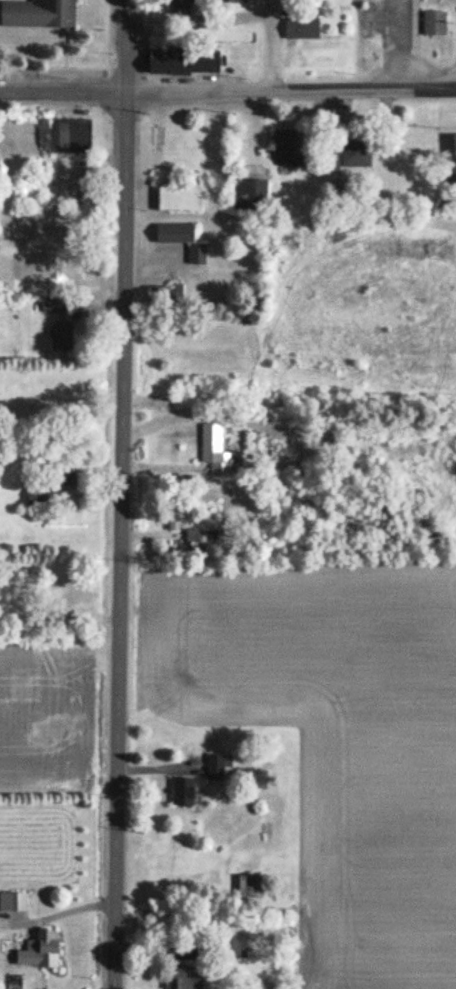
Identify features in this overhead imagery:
building: (233, 1)
building: (178, 8)
building: (37, 14)
building: (433, 24)
building: (300, 30)
road: (279, 45)
building: (180, 62)
road: (227, 91)
building: (65, 136)
building: (283, 150)
building: (345, 157)
building: (450, 157)
building: (249, 197)
building: (177, 199)
building: (180, 242)
building: (165, 297)
building: (59, 337)
building: (184, 392)
building: (211, 450)
building: (48, 475)
road: (127, 494)
building: (176, 517)
building: (193, 537)
building: (217, 766)
building: (180, 791)
building: (247, 886)
building: (226, 947)
building: (37, 951)
building: (178, 979)

